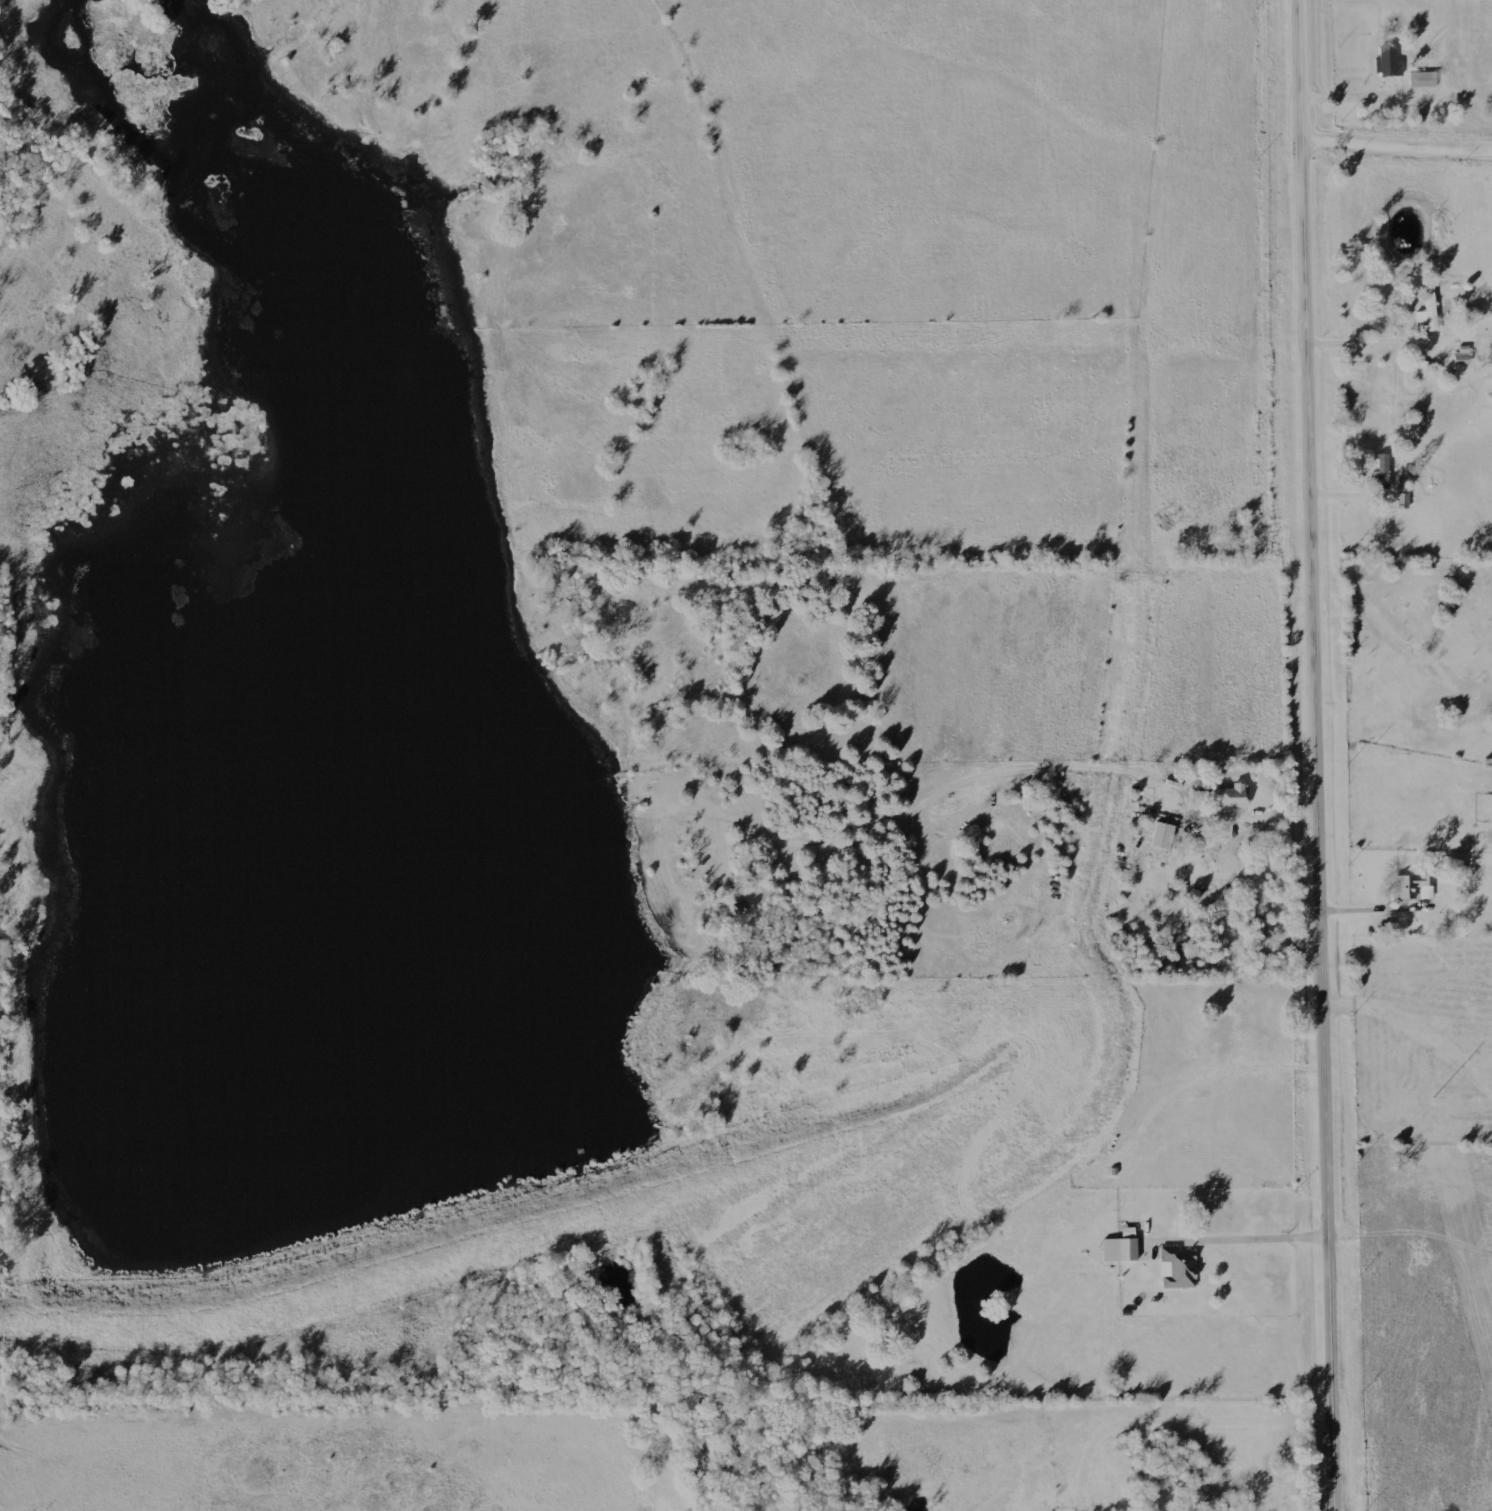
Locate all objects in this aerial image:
building: (1384, 63)
building: (1420, 82)
road: (1356, 90)
road: (1397, 135)
building: (1427, 312)
road: (1399, 343)
building: (1460, 357)
building: (1381, 474)
road: (1325, 755)
building: (1230, 799)
road: (1264, 812)
building: (1159, 838)
building: (1413, 888)
road: (1364, 904)
road: (1411, 1149)
road: (1254, 1229)
building: (1118, 1249)
building: (1175, 1271)
road: (1176, 1423)

